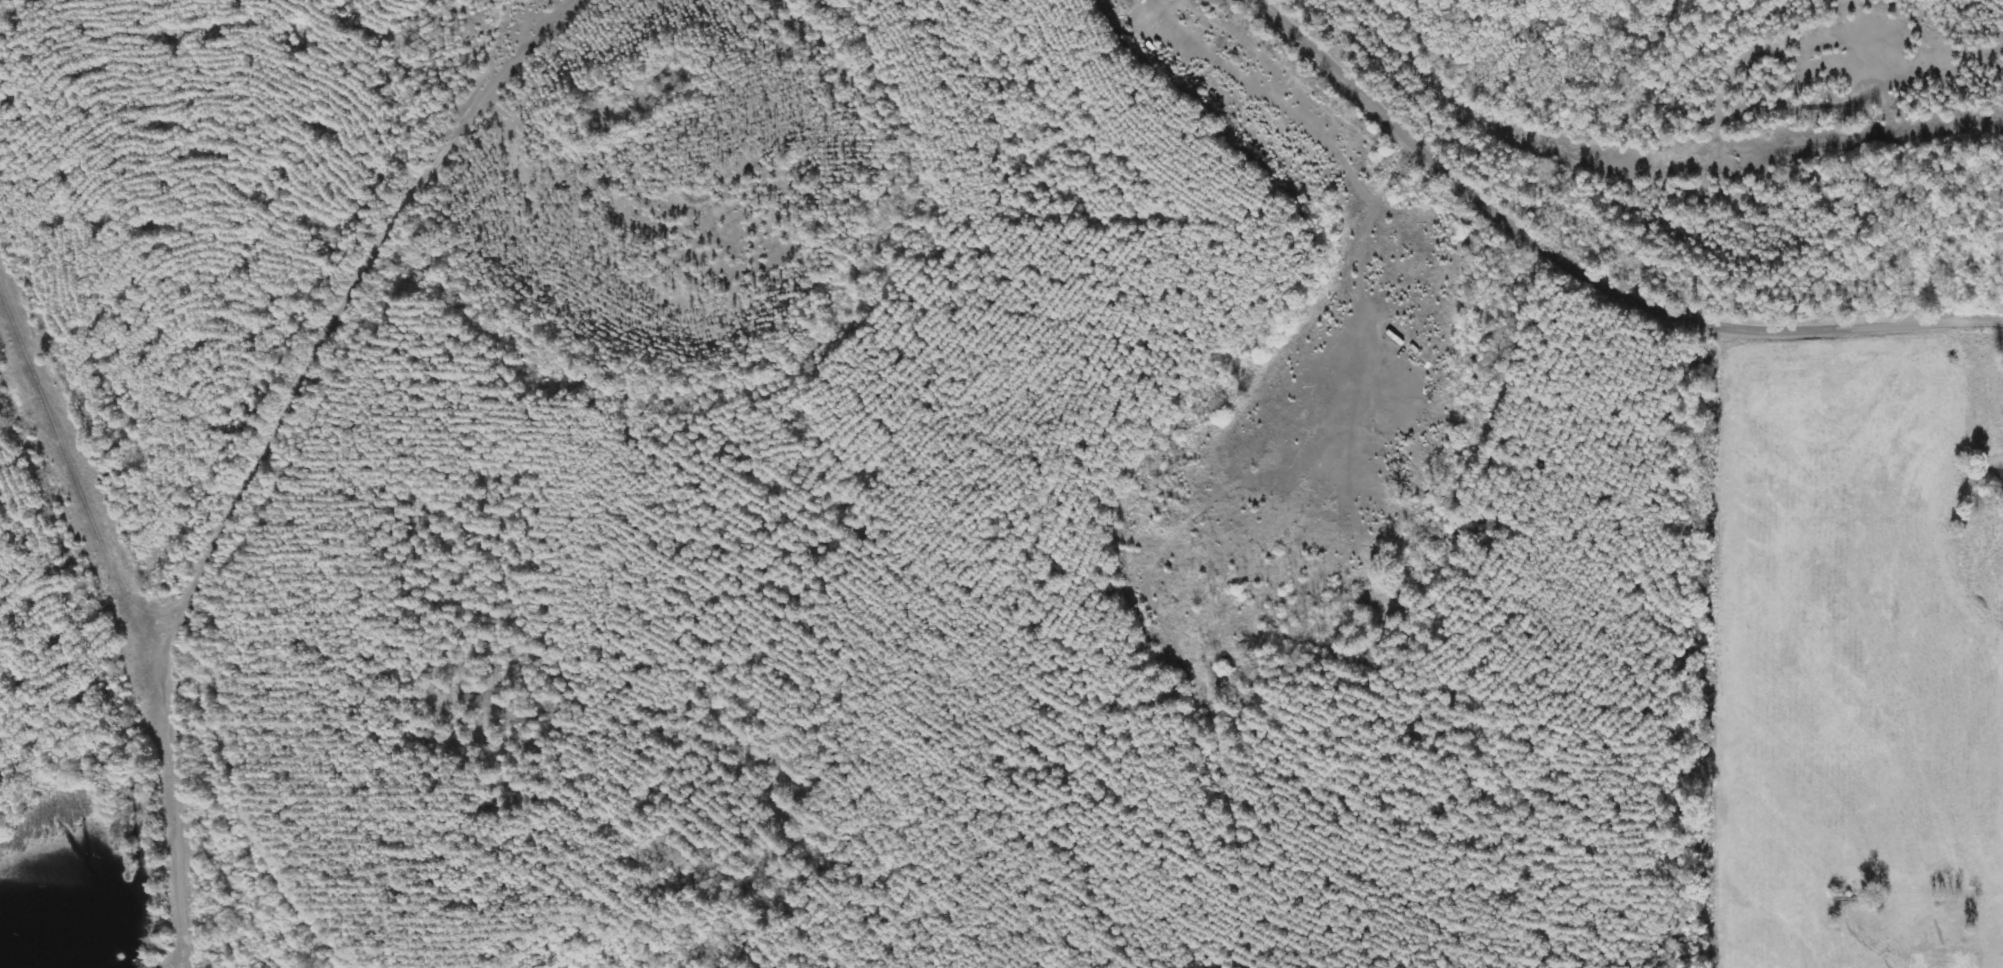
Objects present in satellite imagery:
road: (1586, 273)

